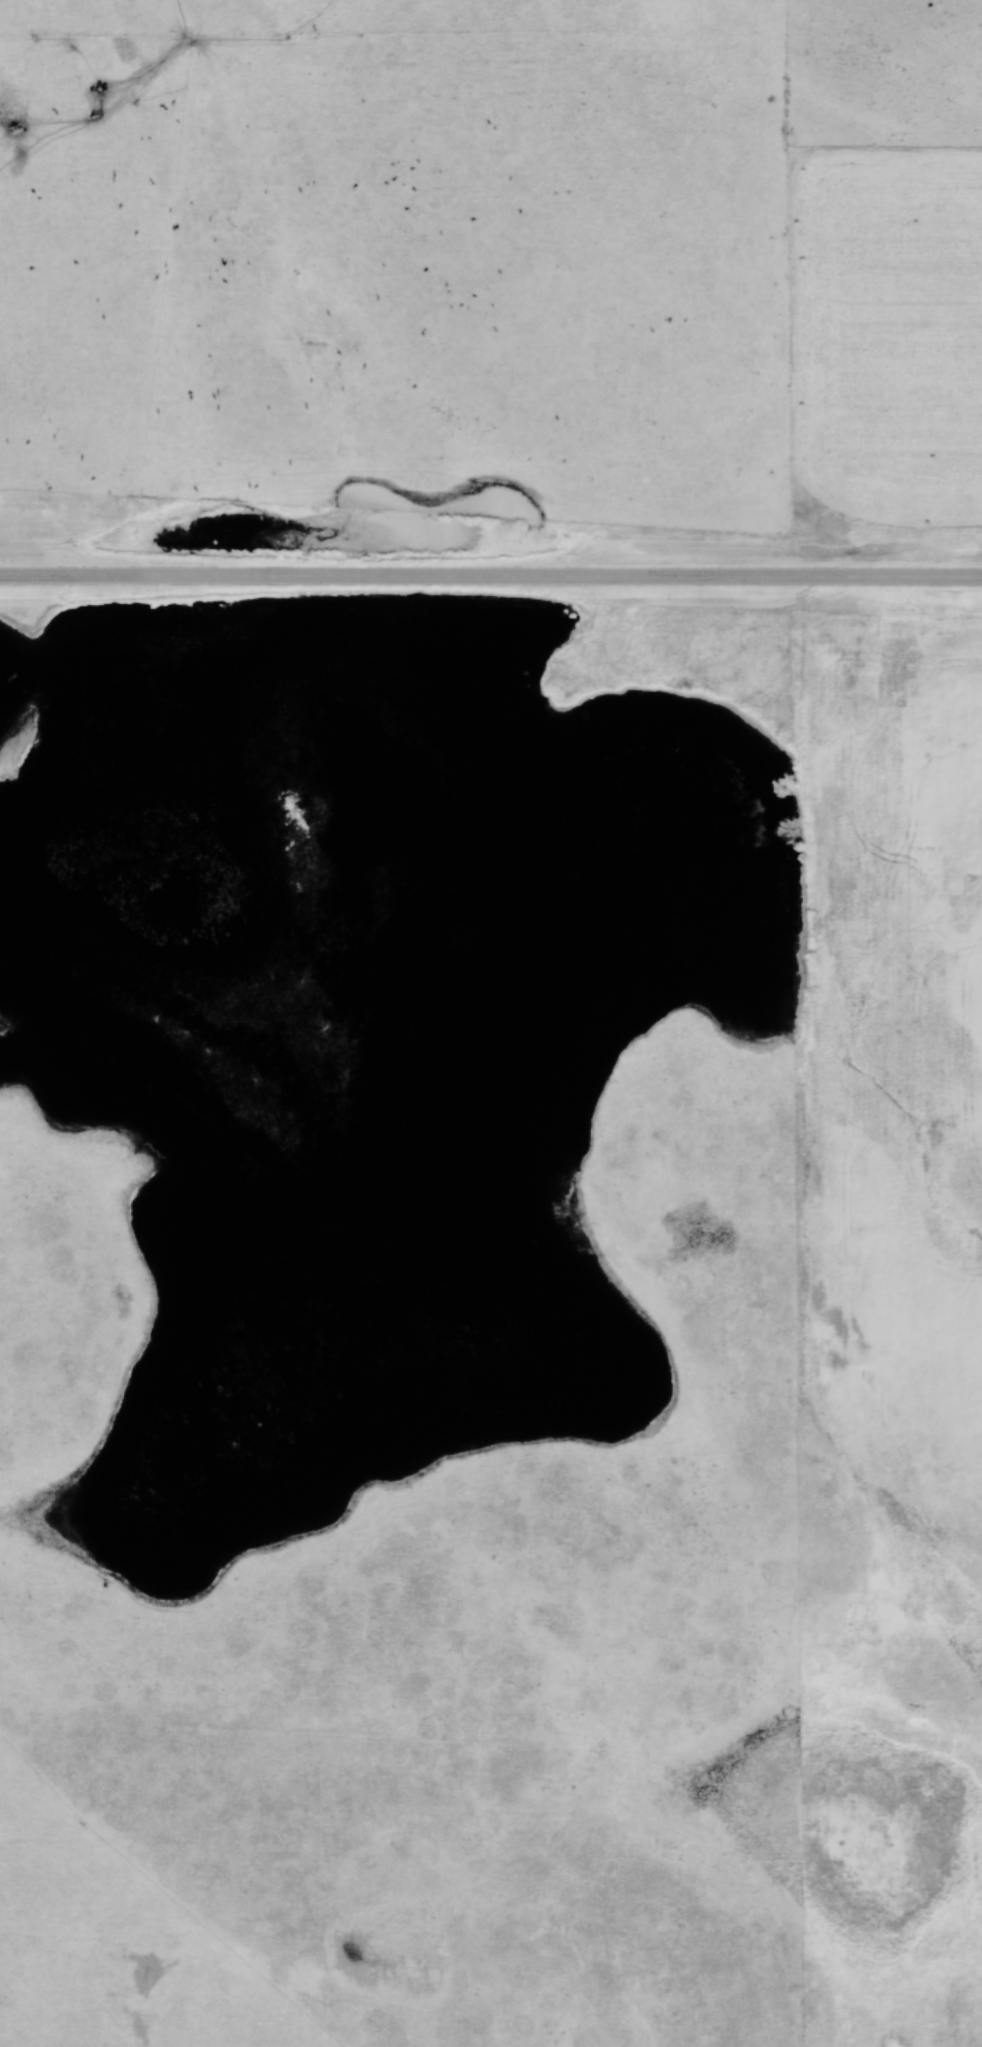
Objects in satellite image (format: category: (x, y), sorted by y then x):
road: (491, 570)

